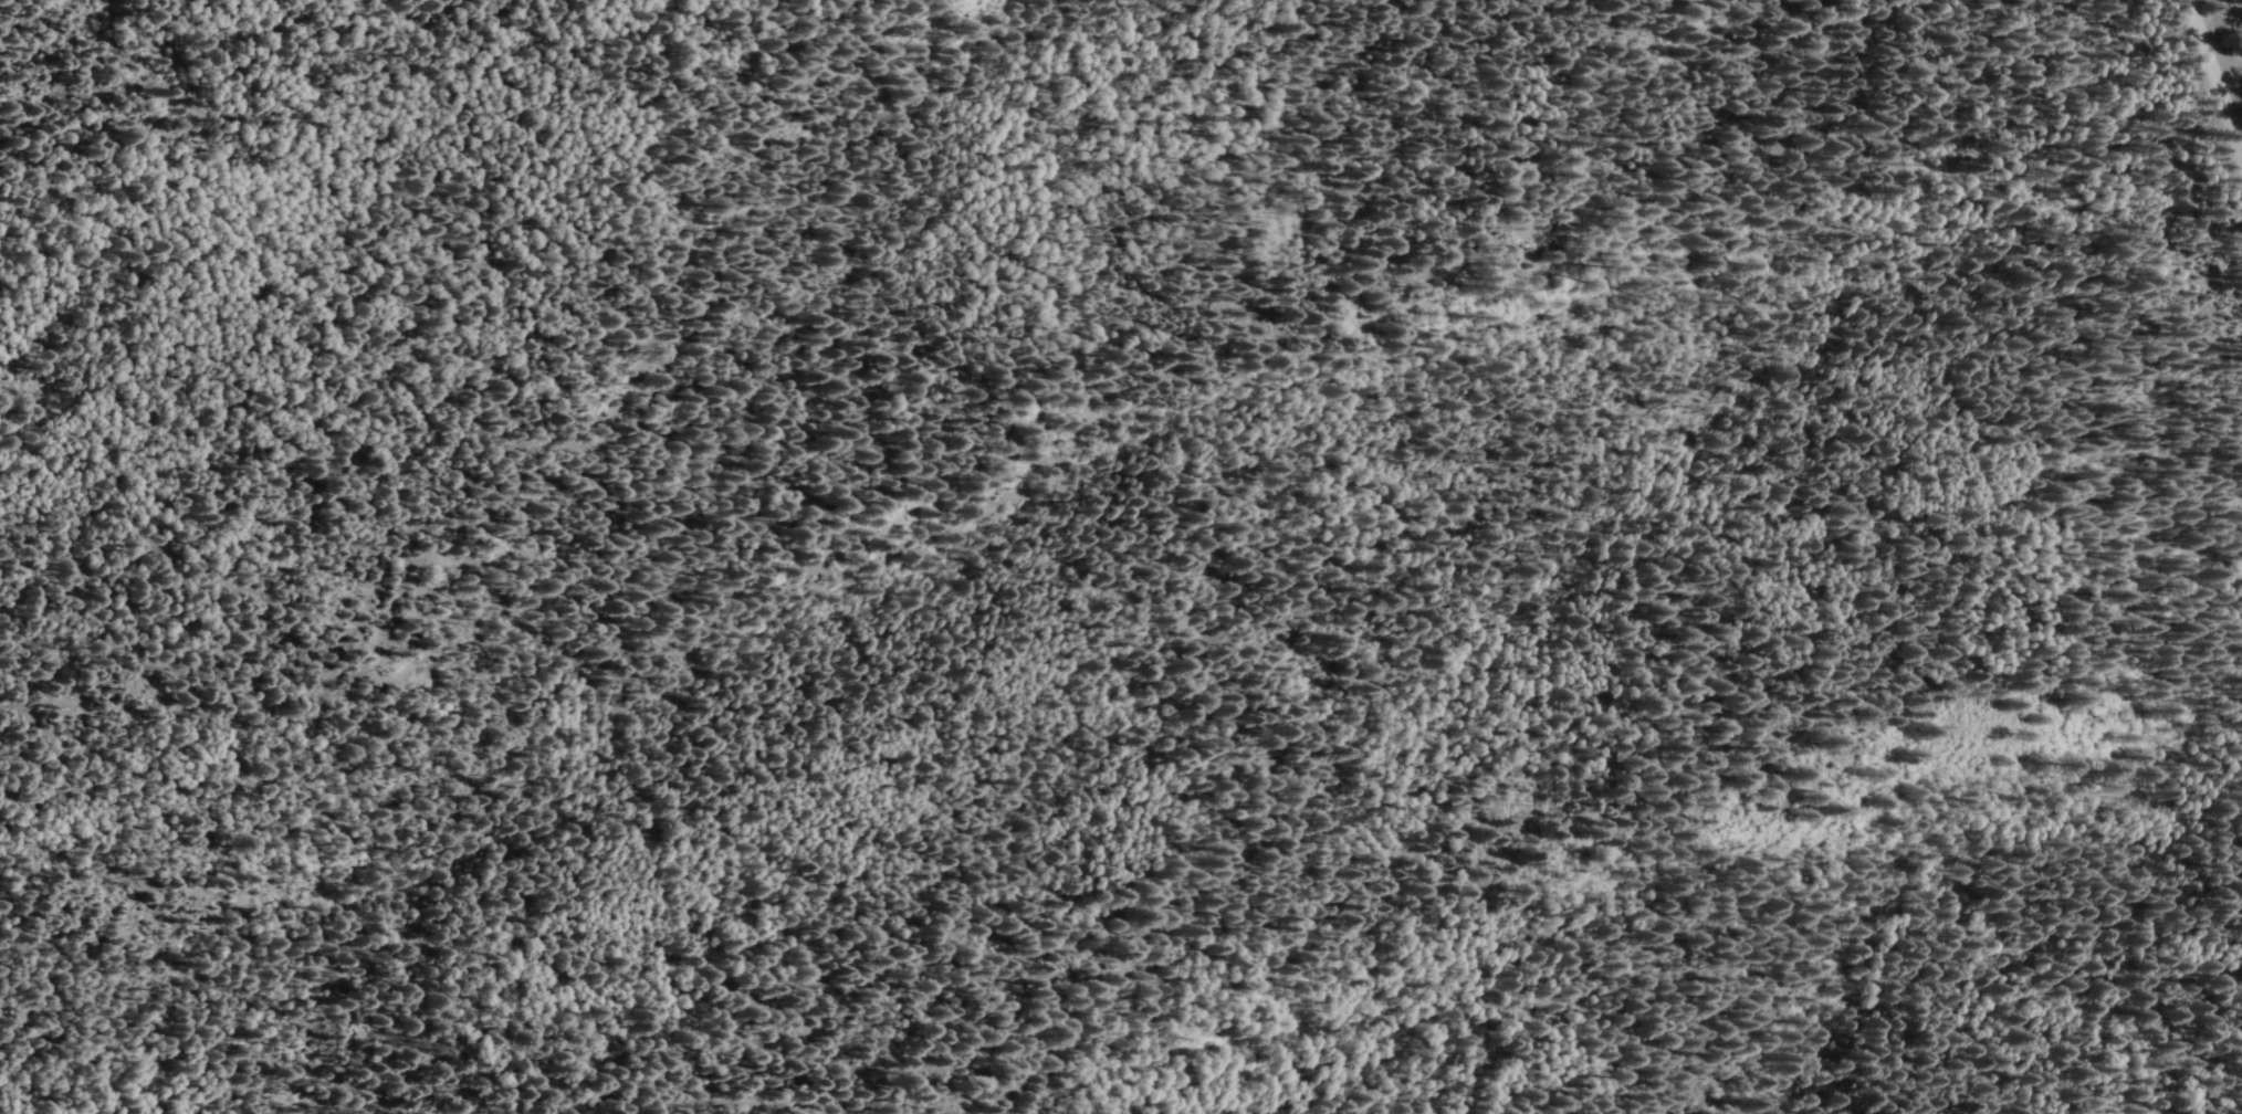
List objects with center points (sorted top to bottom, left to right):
road: (2236, 8)
road: (2215, 73)

